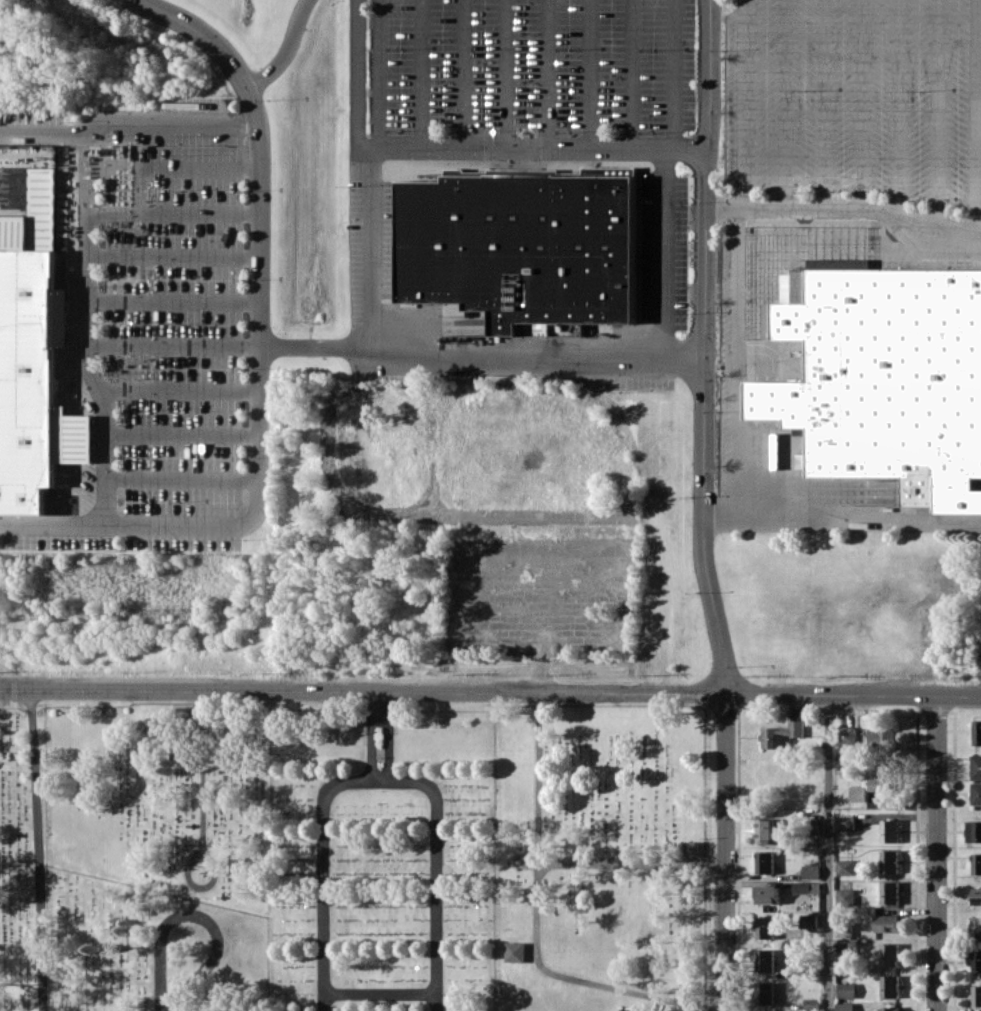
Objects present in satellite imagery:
road: (205, 34)
road: (287, 51)
road: (359, 74)
road: (381, 74)
road: (421, 74)
road: (463, 74)
road: (505, 74)
road: (548, 74)
road: (591, 74)
road: (633, 74)
road: (674, 74)
road: (862, 103)
road: (747, 104)
road: (785, 104)
road: (825, 104)
road: (900, 107)
road: (938, 111)
road: (975, 115)
road: (127, 121)
road: (535, 149)
road: (175, 166)
road: (845, 207)
road: (175, 210)
building: (522, 246)
road: (373, 247)
road: (662, 249)
road: (175, 256)
road: (175, 299)
road: (88, 338)
road: (175, 345)
road: (318, 347)
road: (707, 347)
road: (541, 349)
building: (34, 356)
road: (737, 375)
building: (884, 377)
road: (260, 430)
road: (183, 434)
road: (107, 457)
road: (183, 479)
road: (859, 519)
road: (363, 690)
road: (854, 694)
building: (977, 732)
building: (847, 734)
building: (782, 735)
road: (371, 737)
road: (389, 737)
building: (880, 737)
building: (976, 766)
building: (874, 784)
building: (976, 793)
park: (162, 796)
road: (202, 818)
building: (846, 821)
building: (766, 829)
building: (890, 830)
building: (974, 831)
park: (601, 847)
building: (693, 847)
road: (38, 849)
road: (725, 851)
road: (829, 852)
road: (937, 853)
park: (22, 859)
park: (380, 860)
building: (890, 861)
road: (631, 862)
building: (766, 862)
building: (977, 863)
building: (846, 866)
road: (437, 867)
building: (812, 871)
road: (324, 877)
building: (807, 886)
building: (890, 892)
building: (768, 894)
building: (977, 895)
building: (846, 896)
road: (199, 916)
building: (809, 920)
road: (537, 922)
building: (887, 923)
building: (766, 927)
building: (976, 927)
building: (845, 929)
building: (845, 946)
park: (148, 949)
building: (515, 951)
building: (890, 954)
building: (766, 959)
building: (975, 961)
building: (890, 986)
building: (847, 990)
building: (766, 993)
road: (380, 994)
building: (976, 995)
park: (559, 996)
building: (812, 1003)
building: (845, 1006)
building: (890, 1008)
building: (626, 1010)

